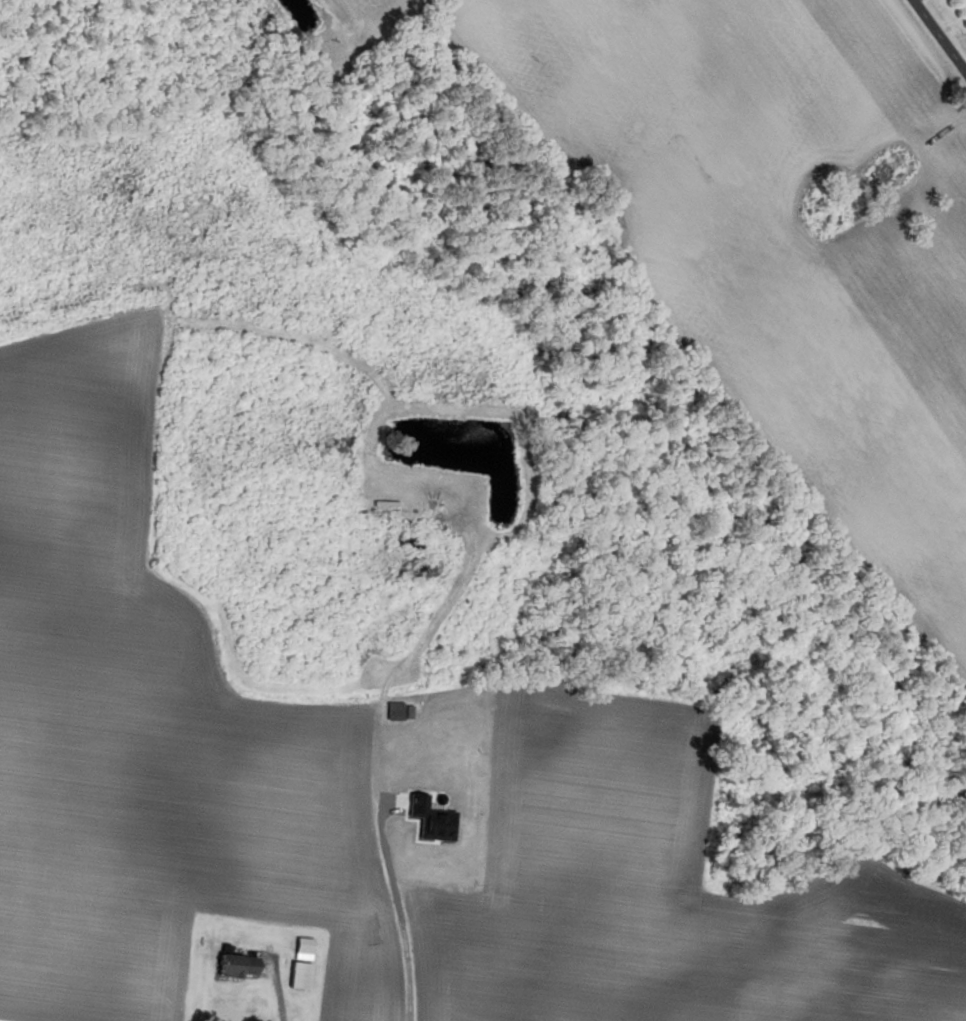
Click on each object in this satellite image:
road: (915, 0)
road: (940, 34)
building: (403, 819)
building: (300, 945)
building: (233, 965)
building: (296, 975)
road: (278, 993)

